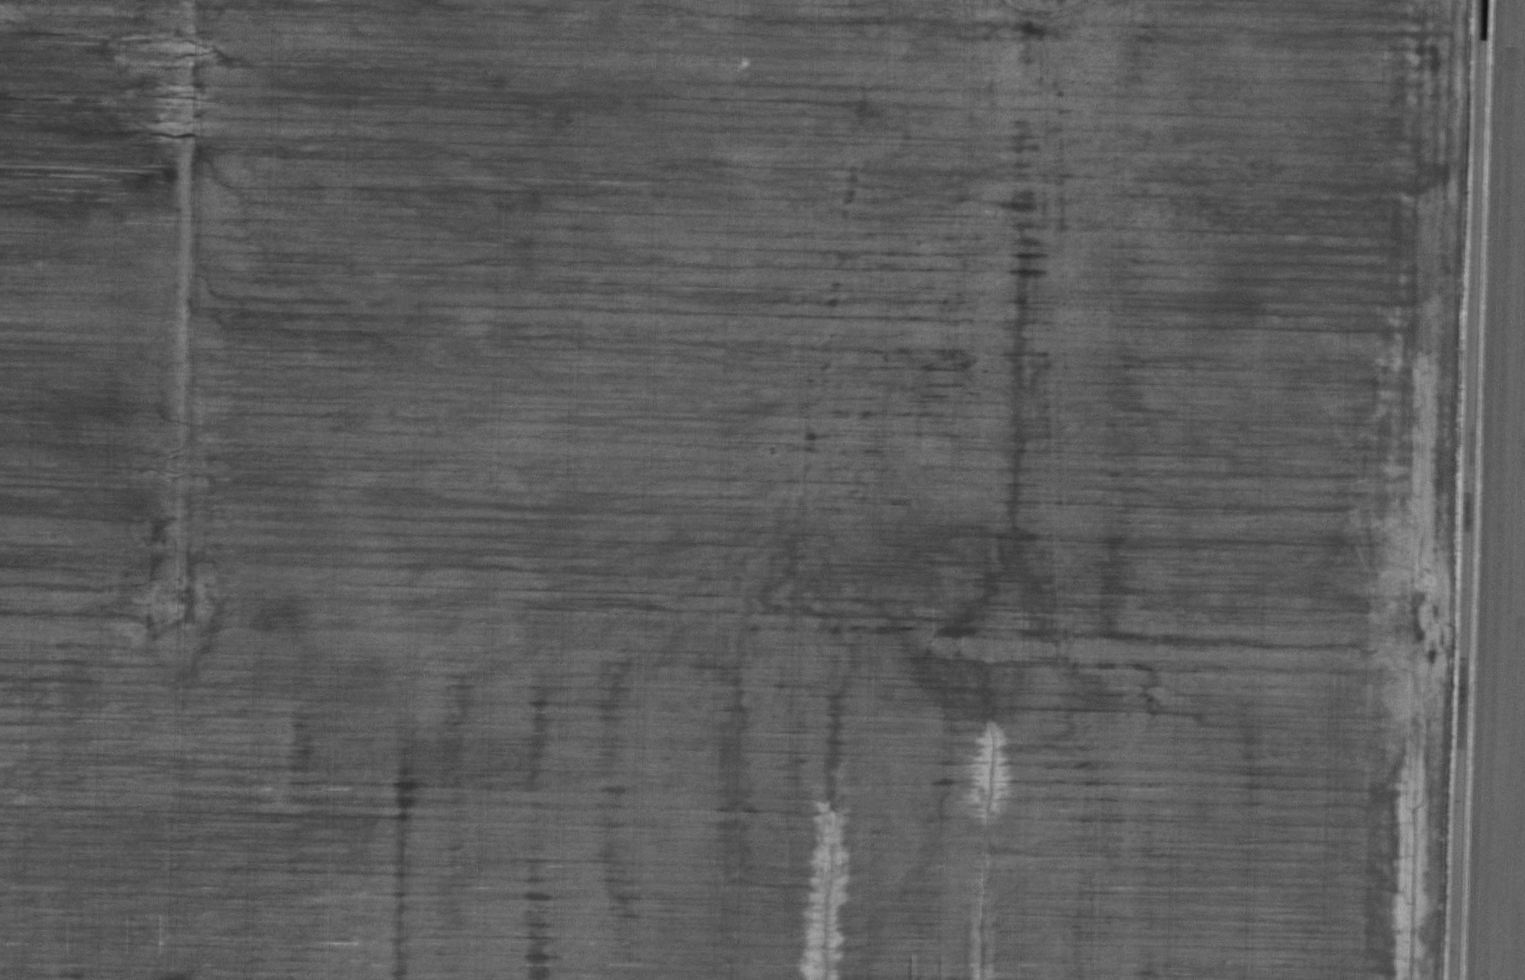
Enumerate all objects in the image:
road: (1471, 490)

